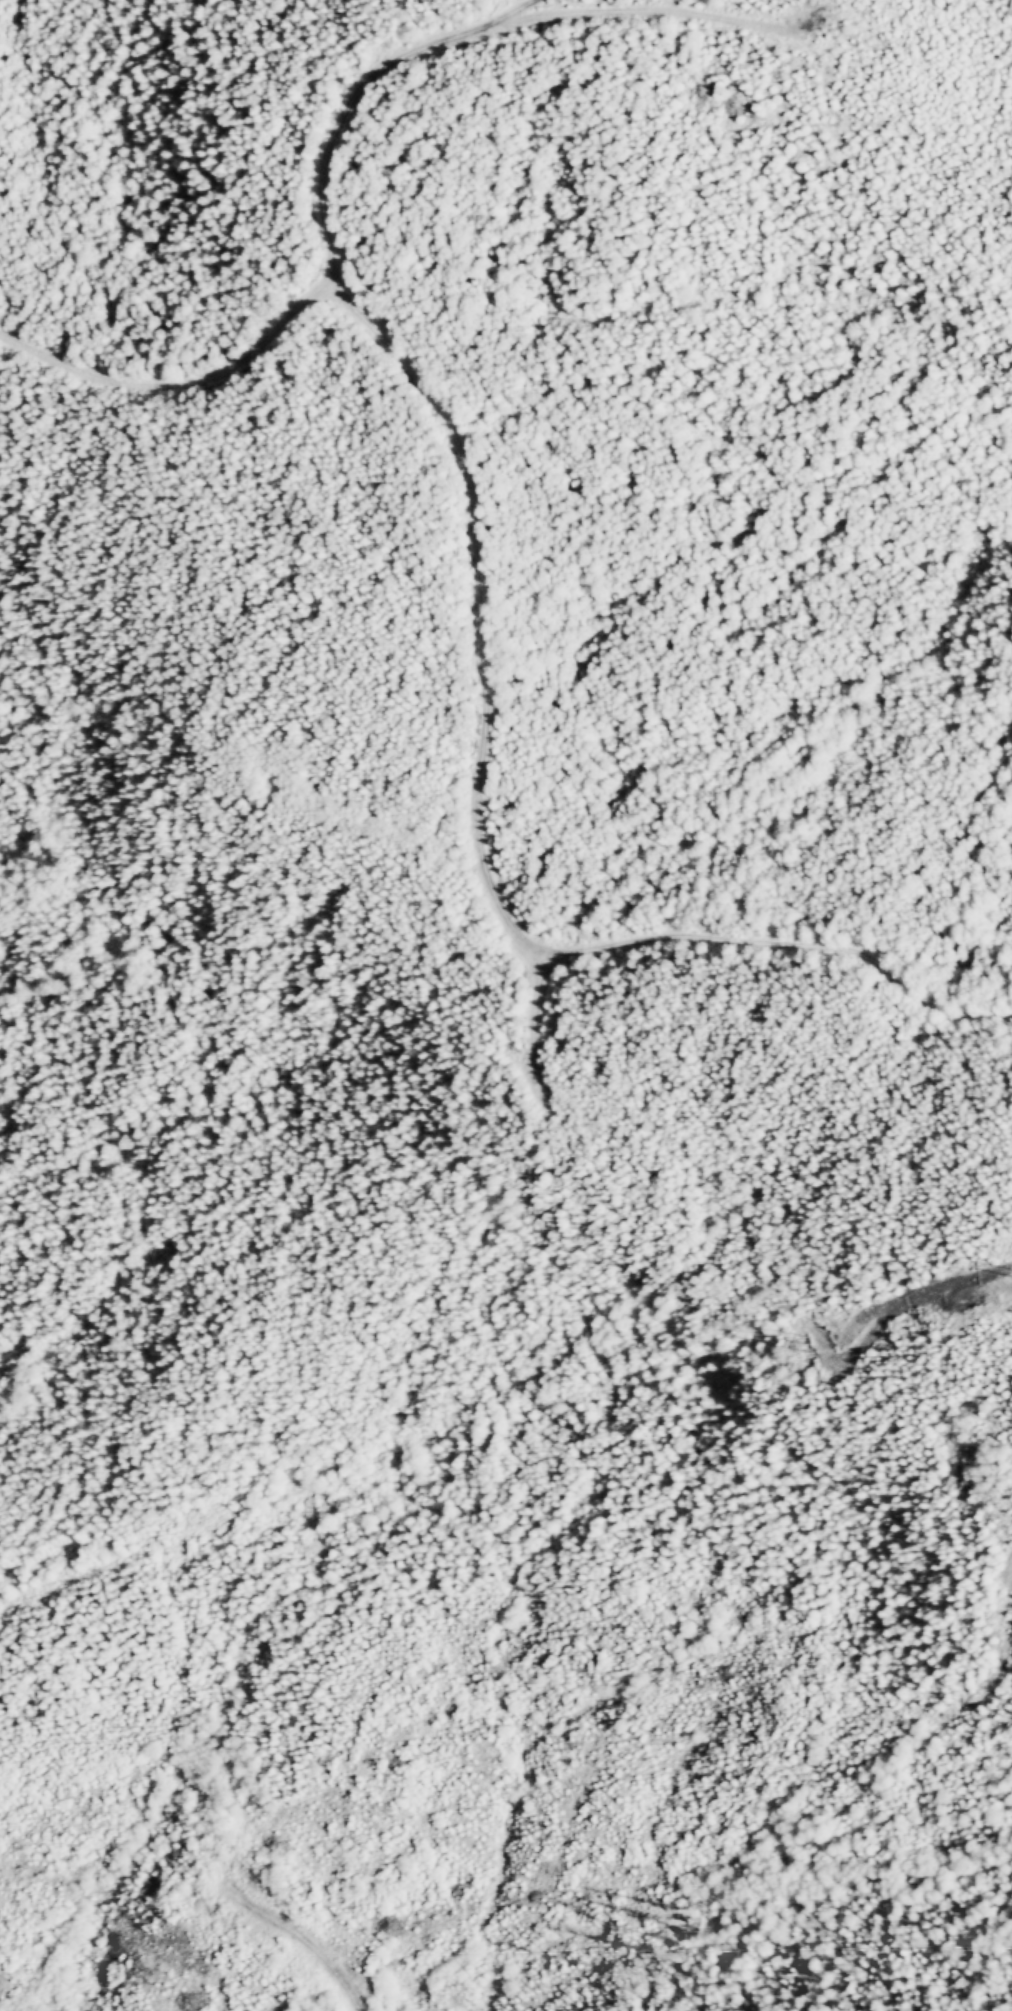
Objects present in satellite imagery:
road: (386, 85)
road: (429, 396)
road: (402, 1309)
road: (188, 1498)

